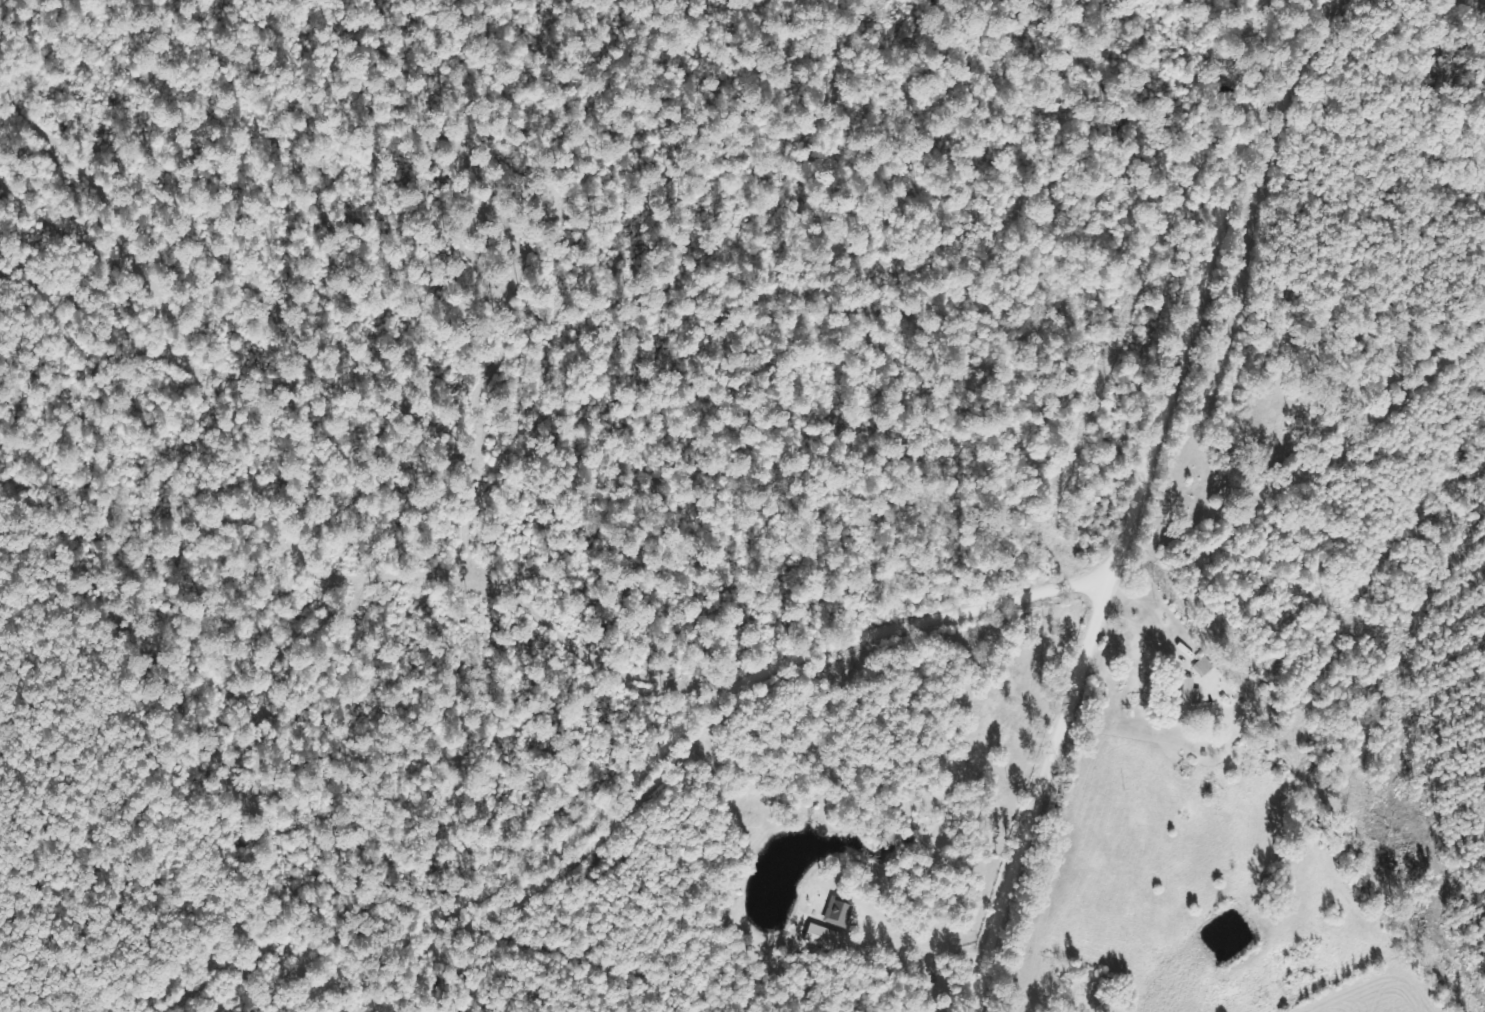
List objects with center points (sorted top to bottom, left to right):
road: (1103, 495)
building: (1188, 701)
road: (633, 759)
road: (61, 806)
building: (838, 913)
building: (823, 938)

